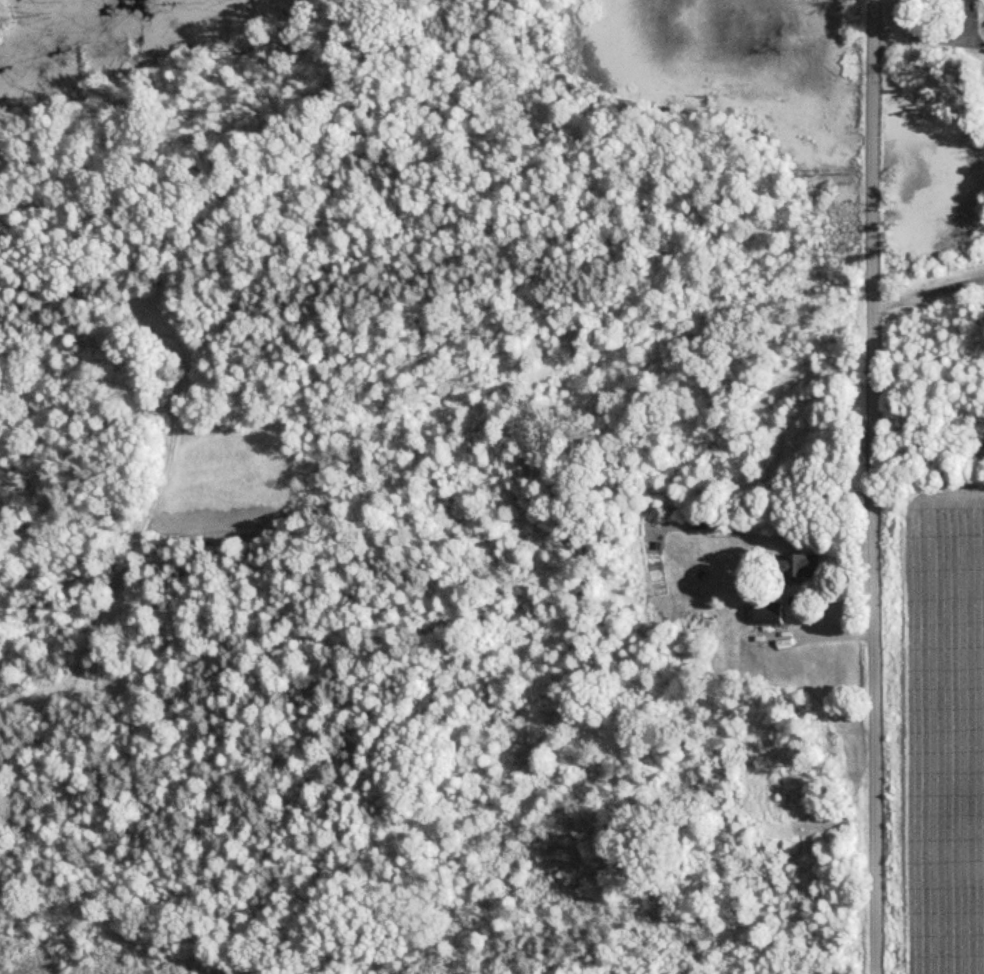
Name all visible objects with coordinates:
road: (931, 36)
road: (930, 290)
road: (874, 487)
building: (800, 567)
building: (771, 616)
road: (820, 633)

